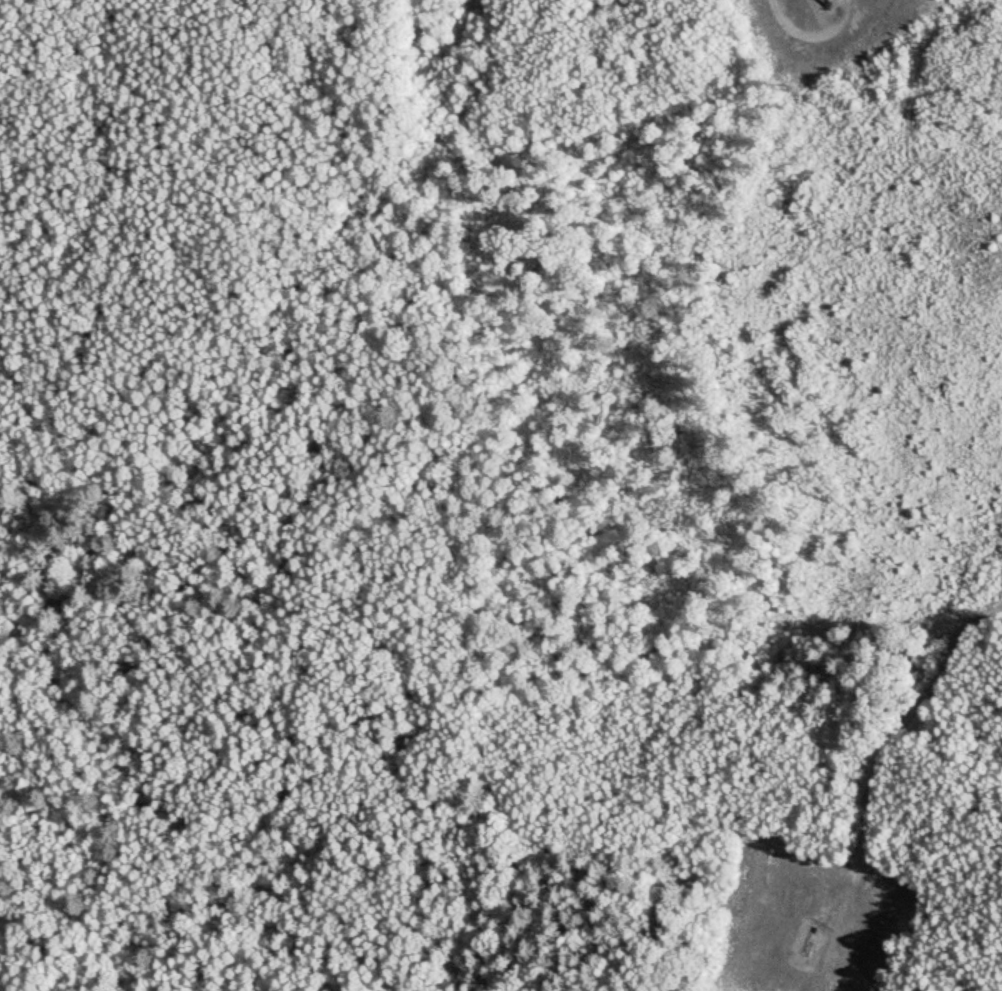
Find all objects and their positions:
road: (884, 748)
petroleum well: (802, 936)

